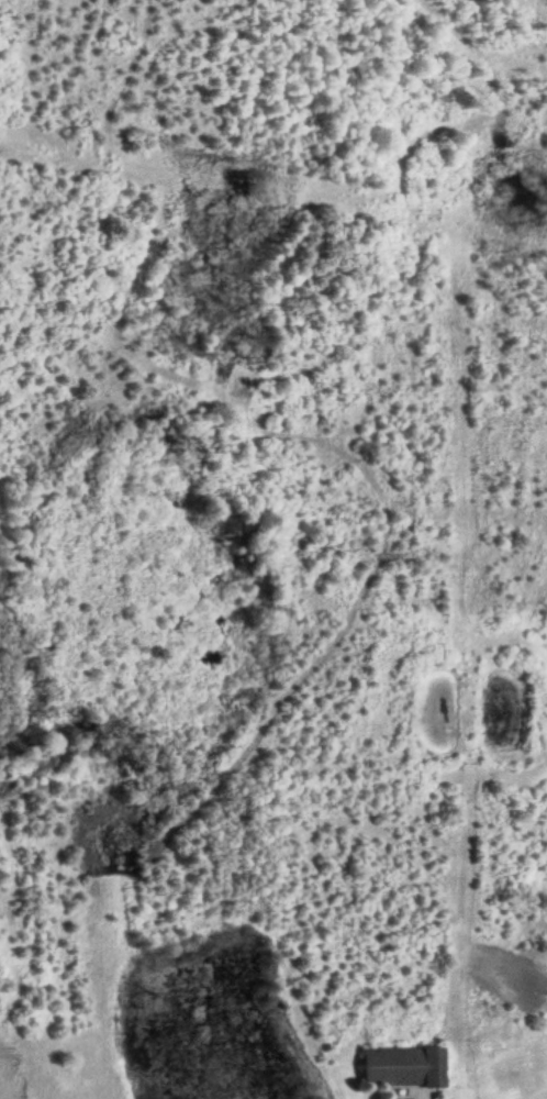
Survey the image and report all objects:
building: (393, 1066)

